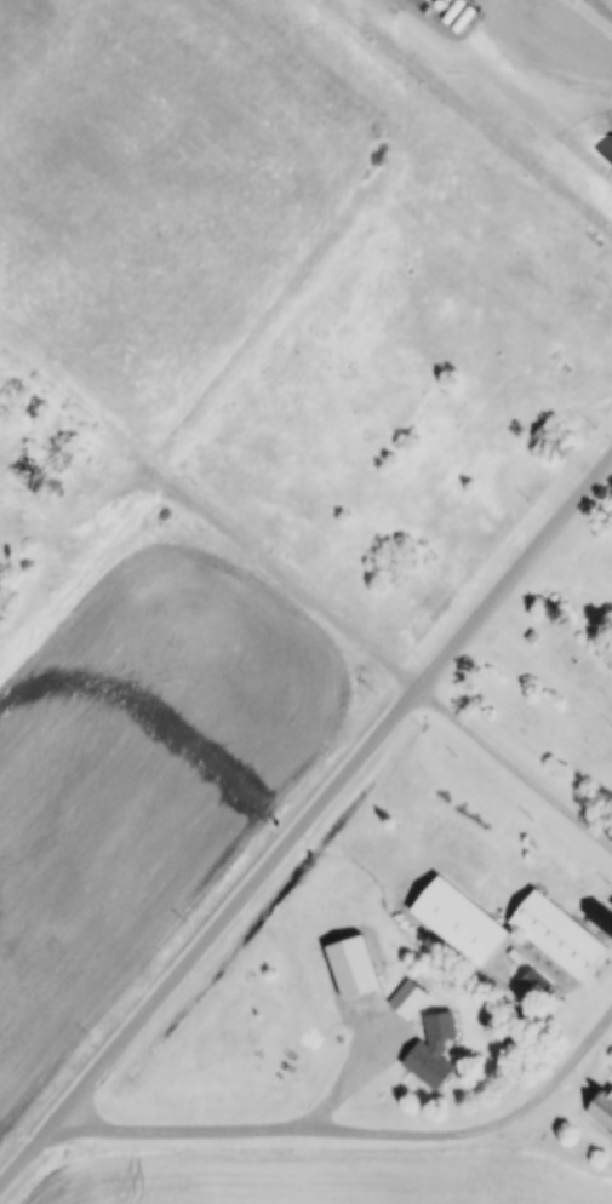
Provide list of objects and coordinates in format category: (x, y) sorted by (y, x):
road: (517, 766)
road: (308, 821)
building: (601, 917)
building: (458, 921)
building: (557, 934)
building: (433, 1050)
road: (353, 1133)

